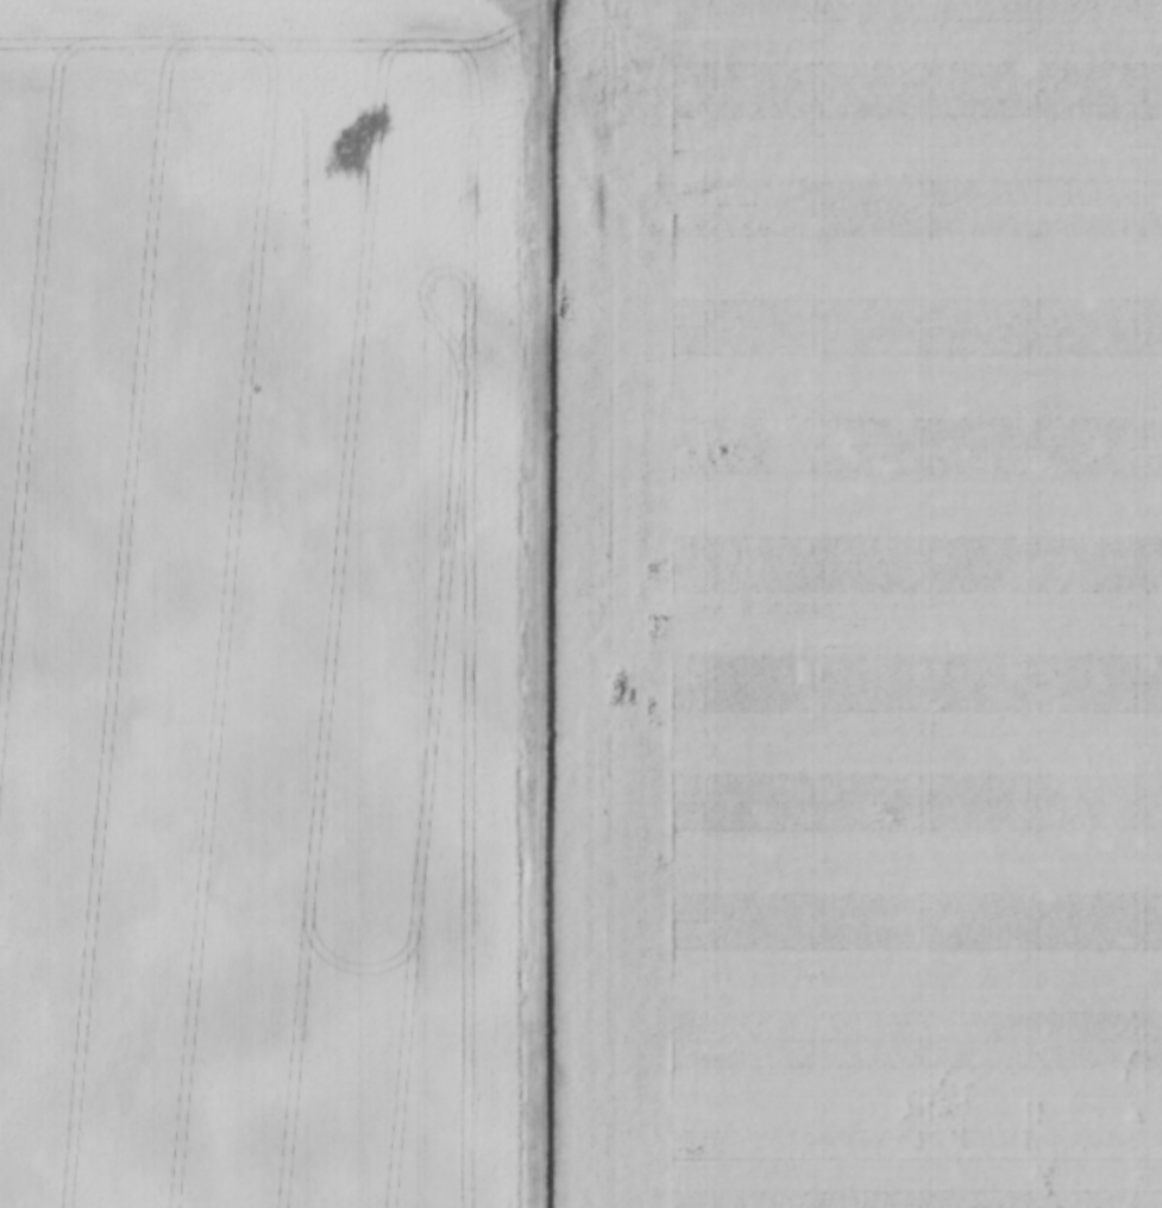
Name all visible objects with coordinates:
road: (547, 603)

